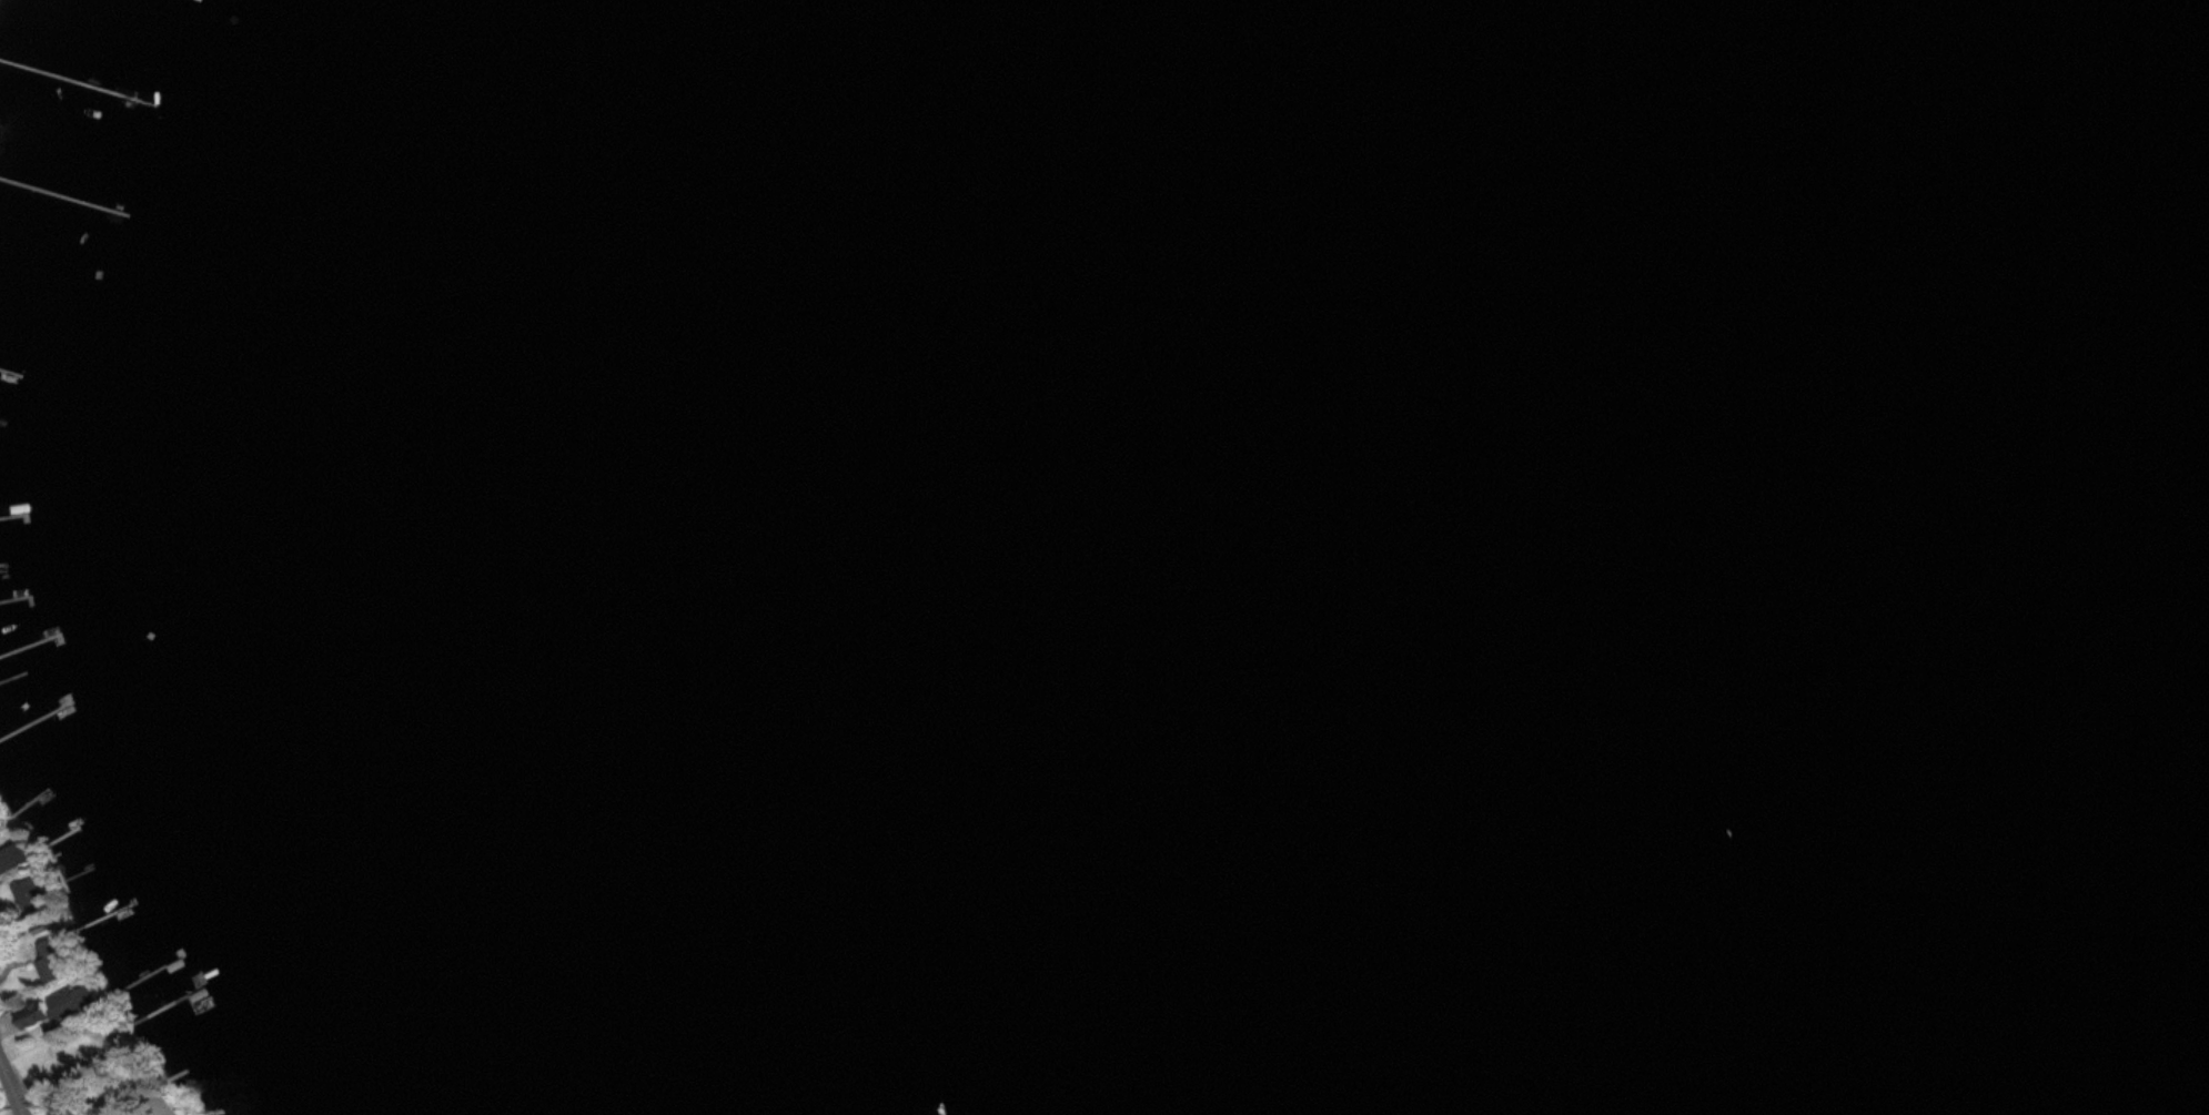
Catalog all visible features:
building: (58, 1010)
road: (10, 1091)
parking lot: (131, 1102)
road: (157, 1106)

